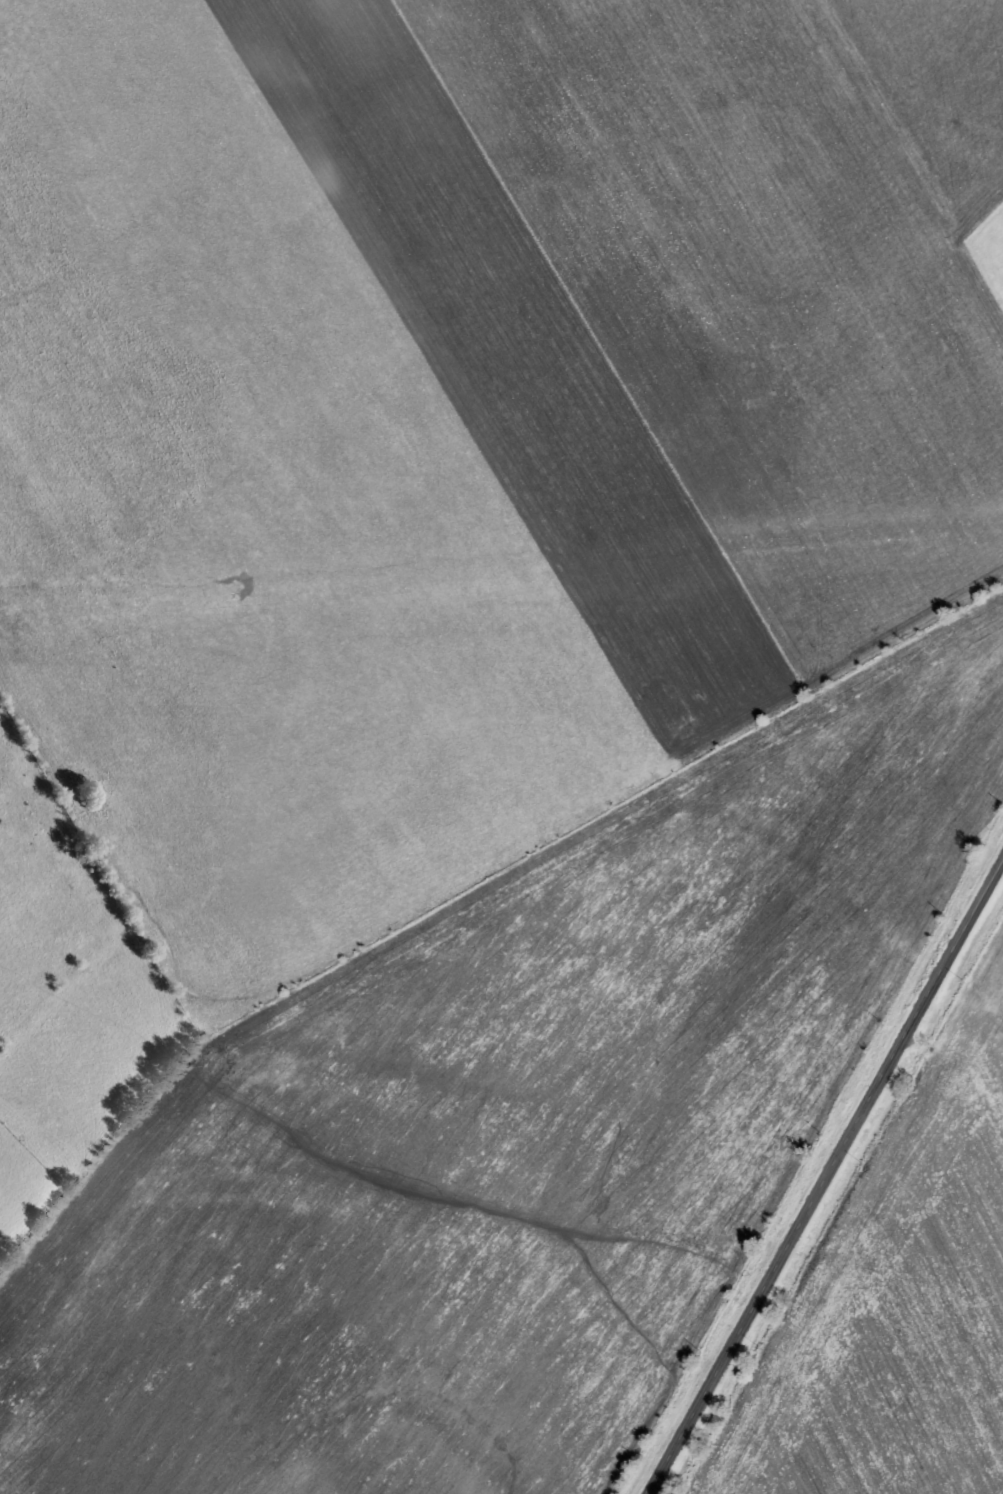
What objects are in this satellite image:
road: (822, 1172)

